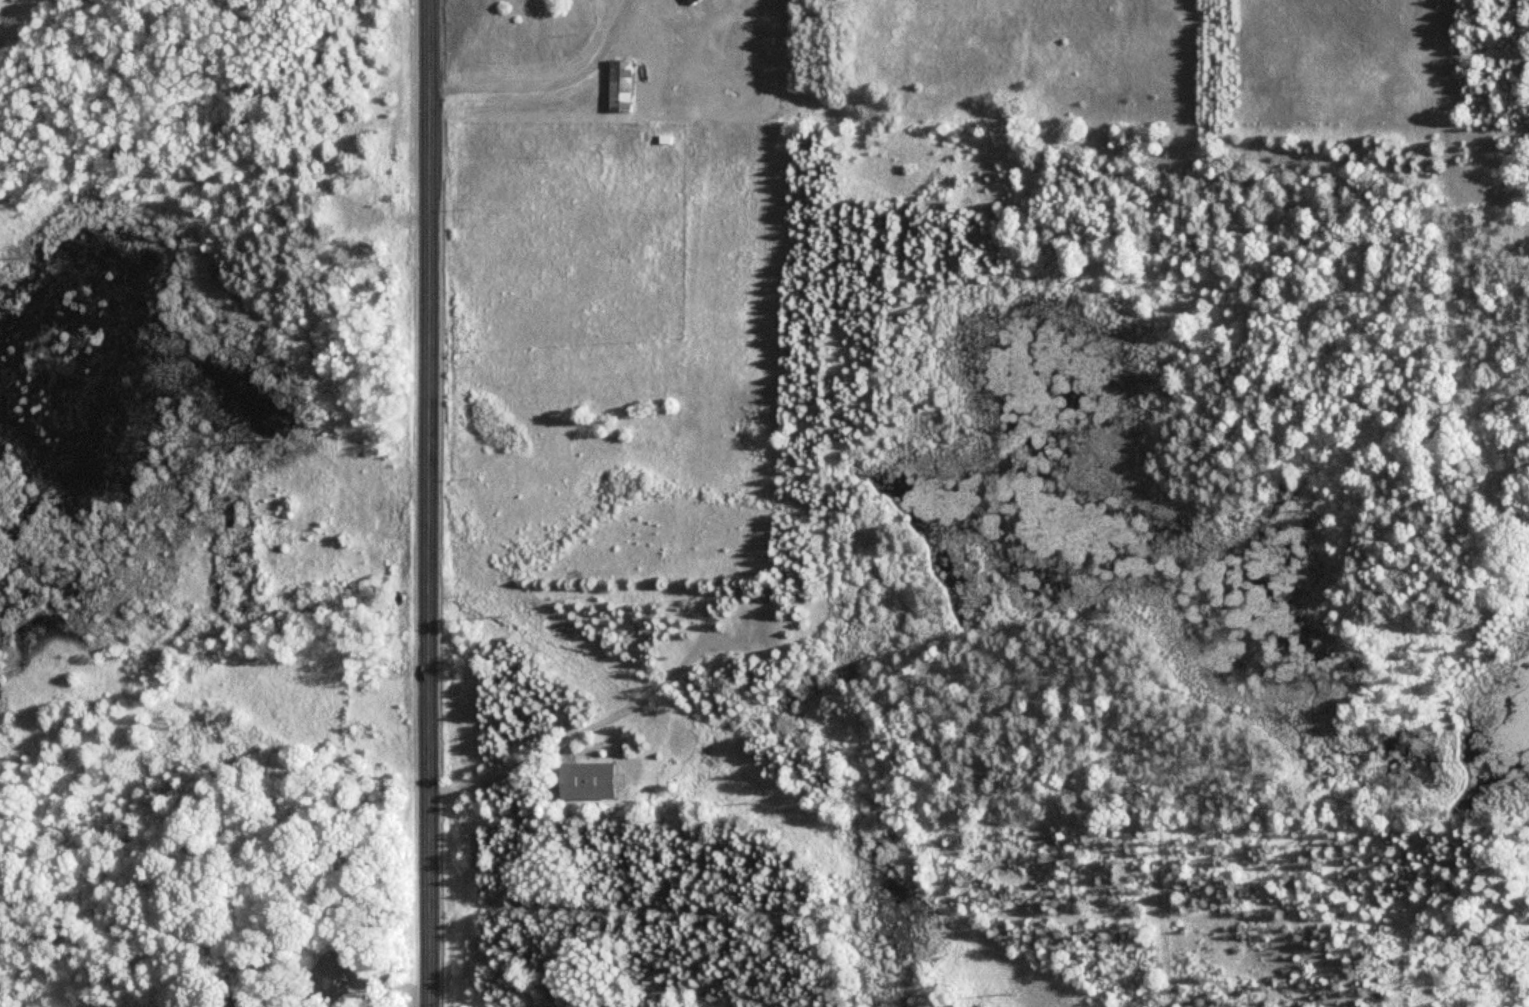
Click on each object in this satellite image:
building: (689, 1)
building: (619, 85)
road: (427, 503)
building: (588, 780)

